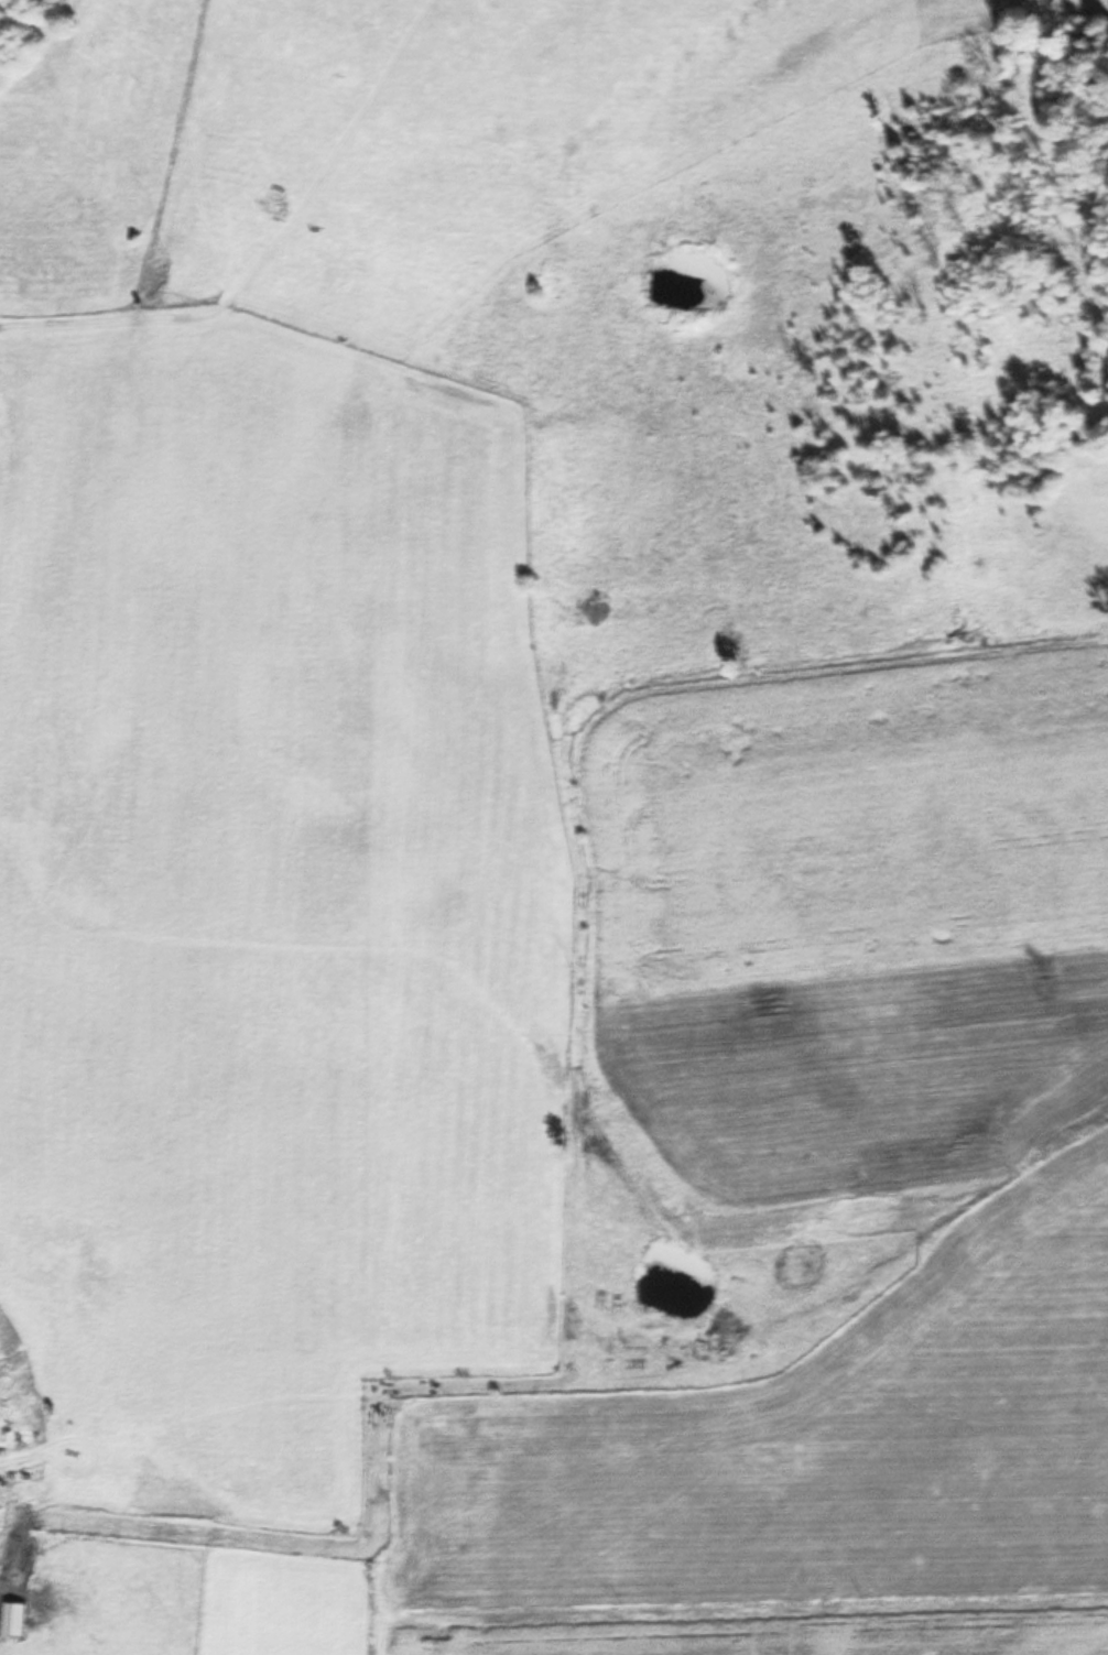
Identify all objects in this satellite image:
building: (0, 1511)
building: (13, 1618)

